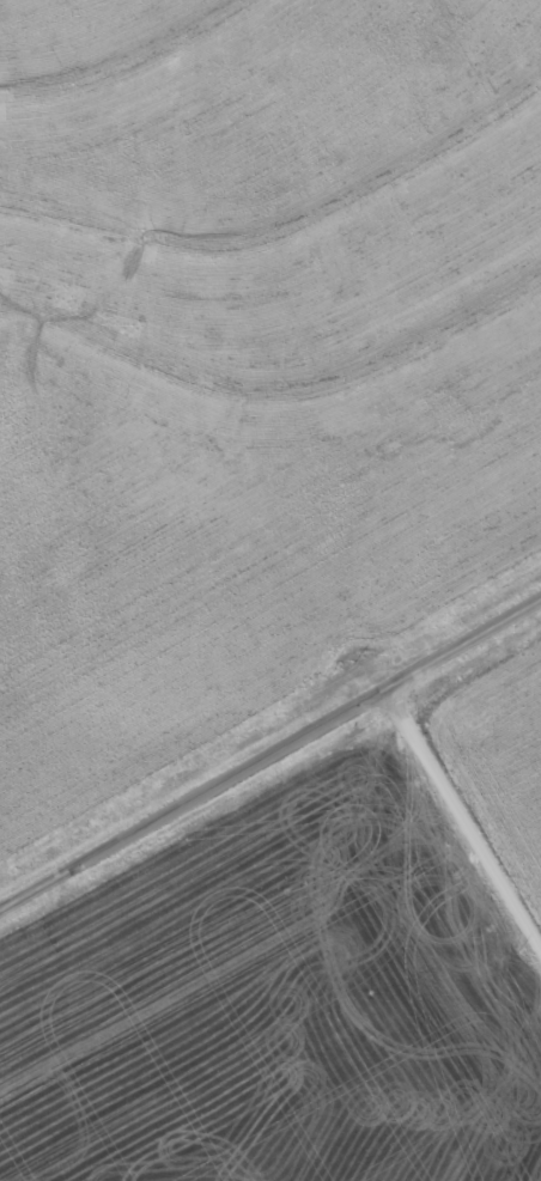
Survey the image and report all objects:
road: (270, 756)
road: (469, 851)

